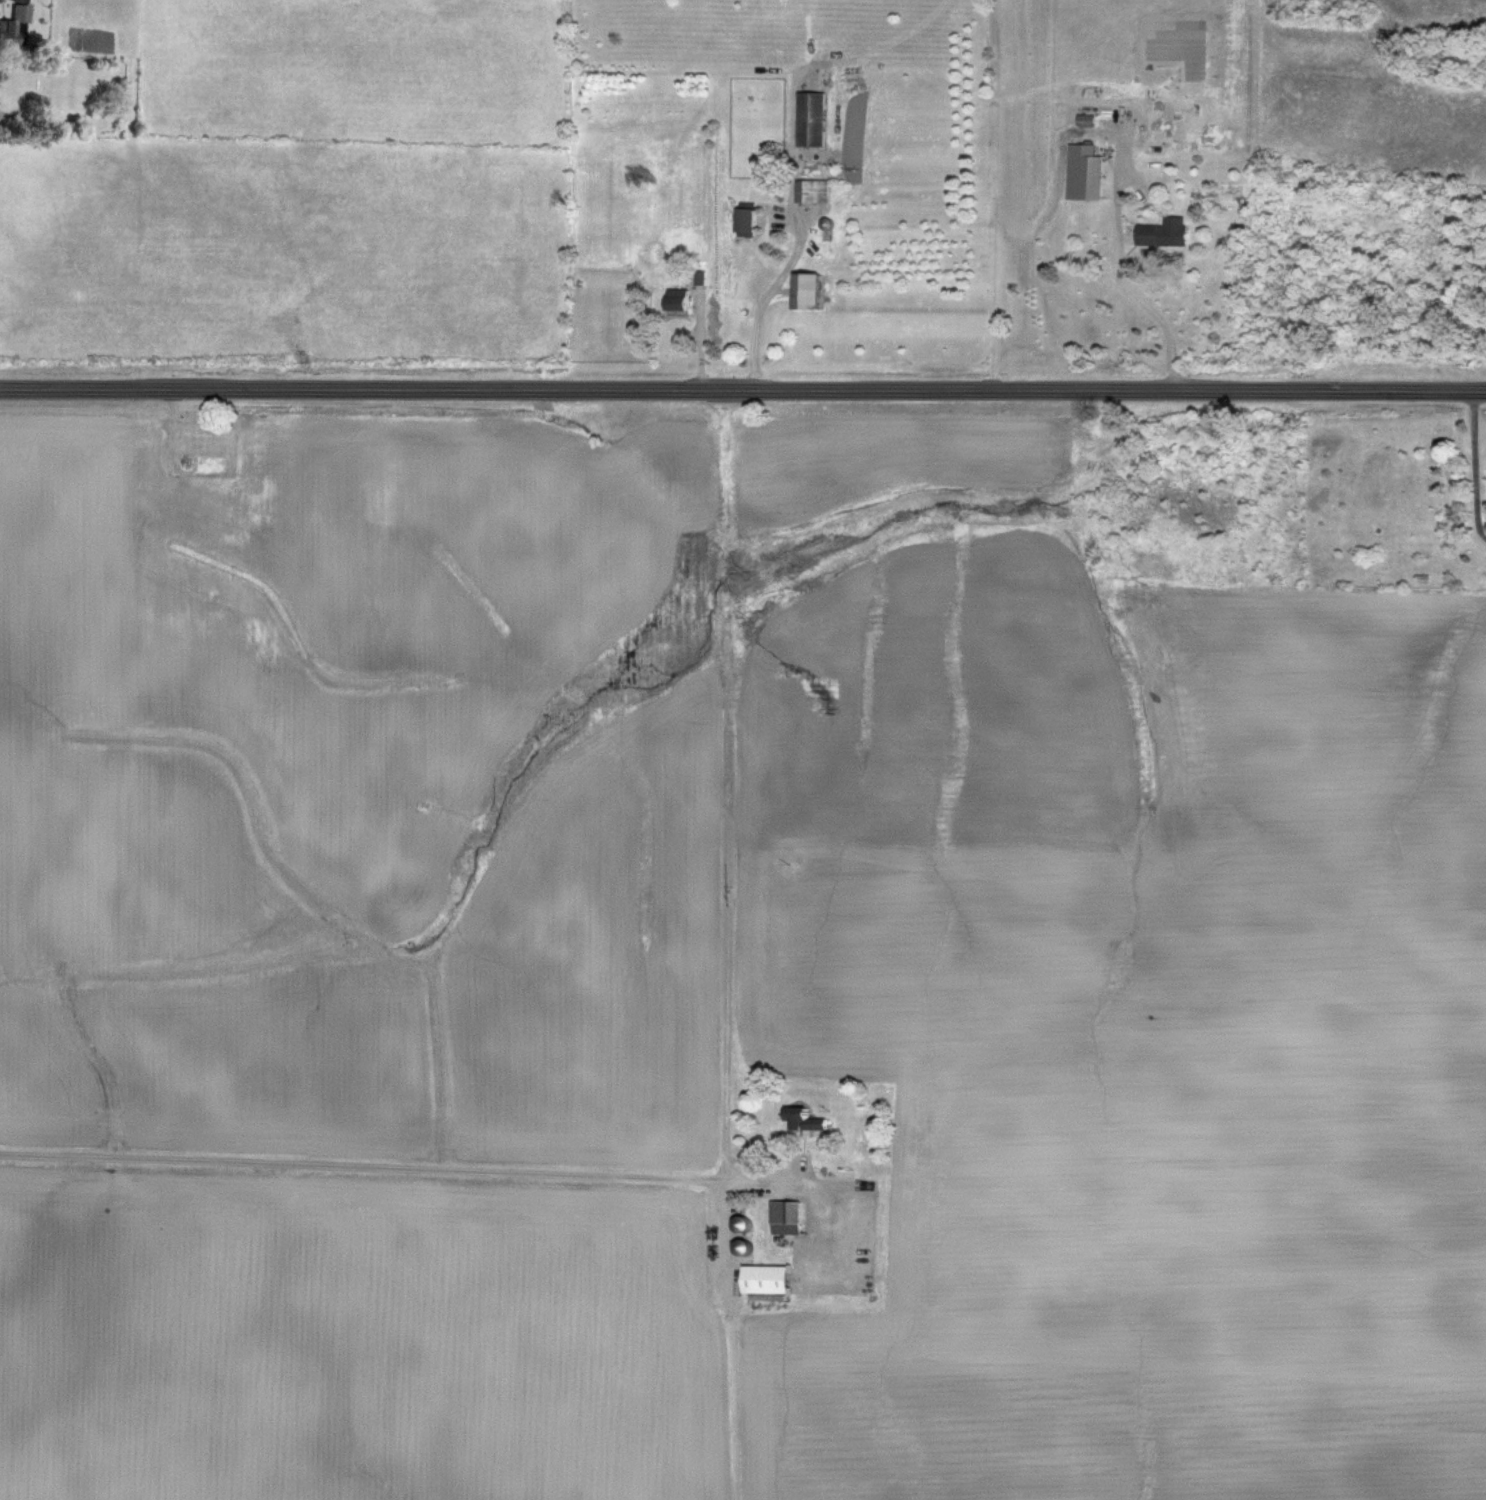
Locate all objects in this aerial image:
building: (13, 26)
building: (94, 43)
building: (808, 117)
building: (1085, 171)
building: (743, 219)
building: (1159, 235)
building: (802, 290)
road: (765, 299)
road: (1149, 304)
road: (742, 389)
building: (193, 443)
road: (1474, 463)
building: (183, 577)
road: (724, 782)
building: (799, 1118)
road: (358, 1162)
building: (785, 1216)
building: (737, 1223)
building: (763, 1275)

